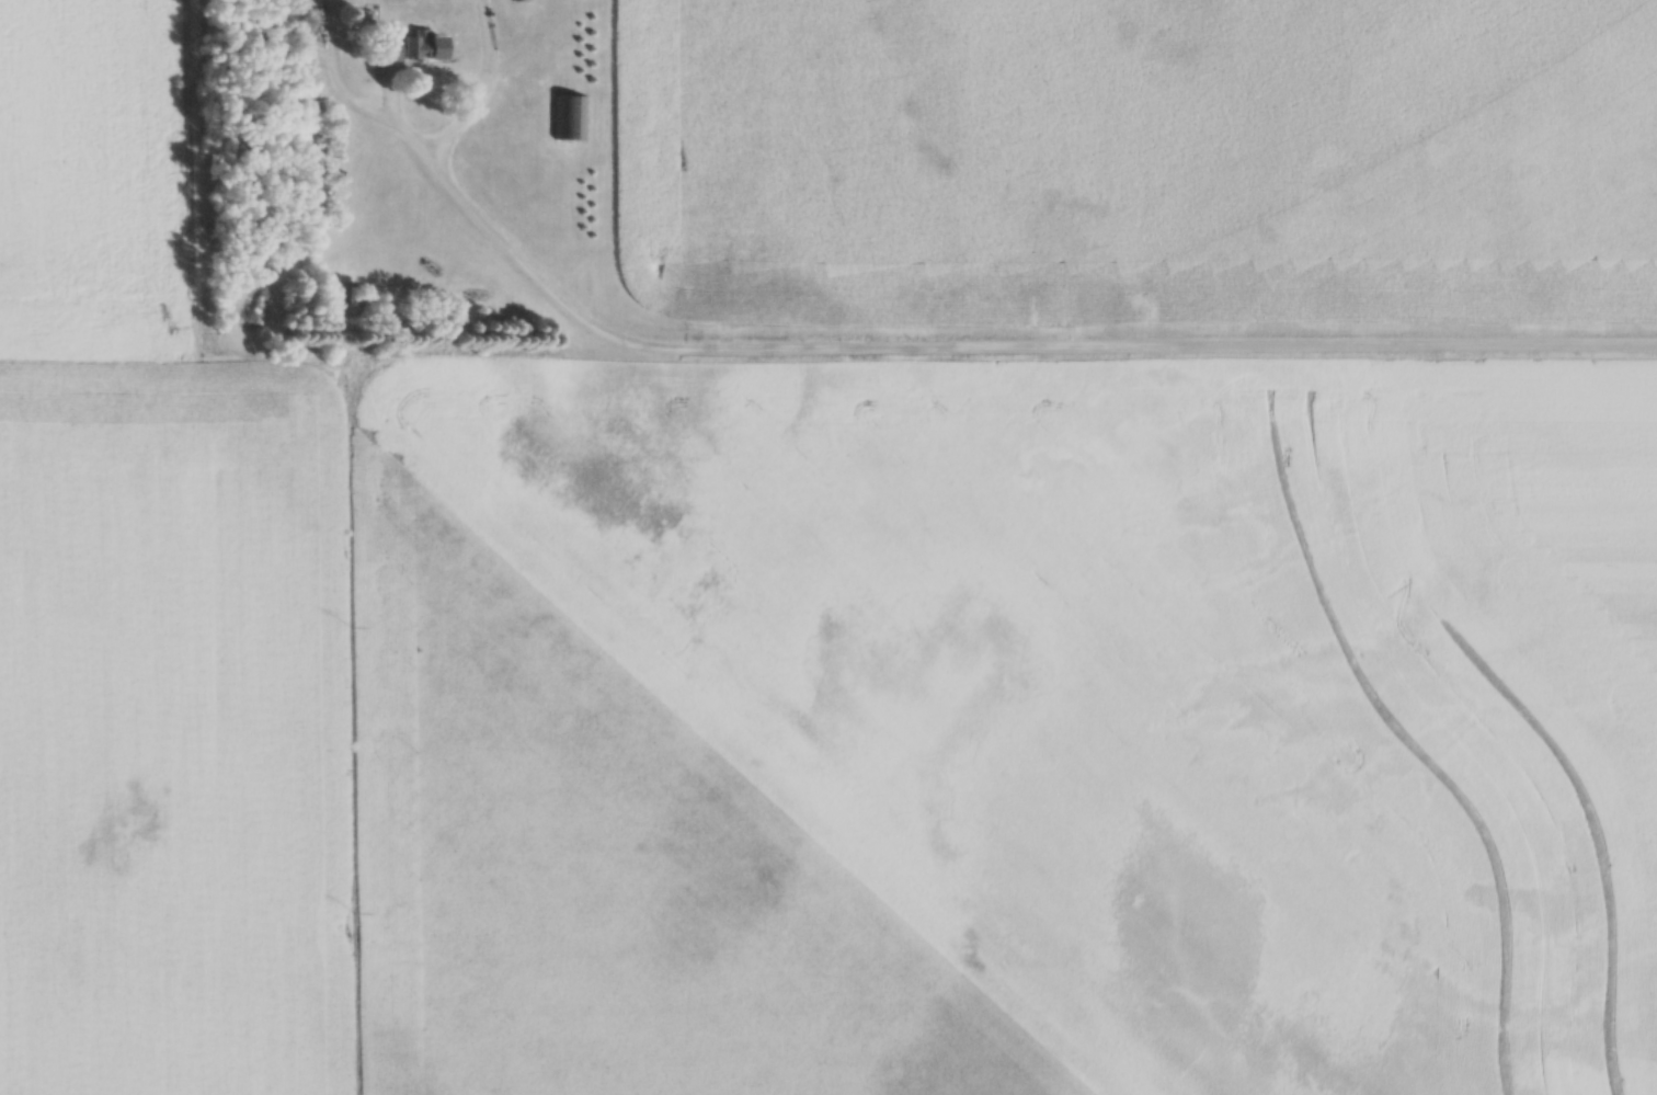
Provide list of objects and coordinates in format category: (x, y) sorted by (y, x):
building: (421, 46)
building: (571, 117)
road: (974, 346)

